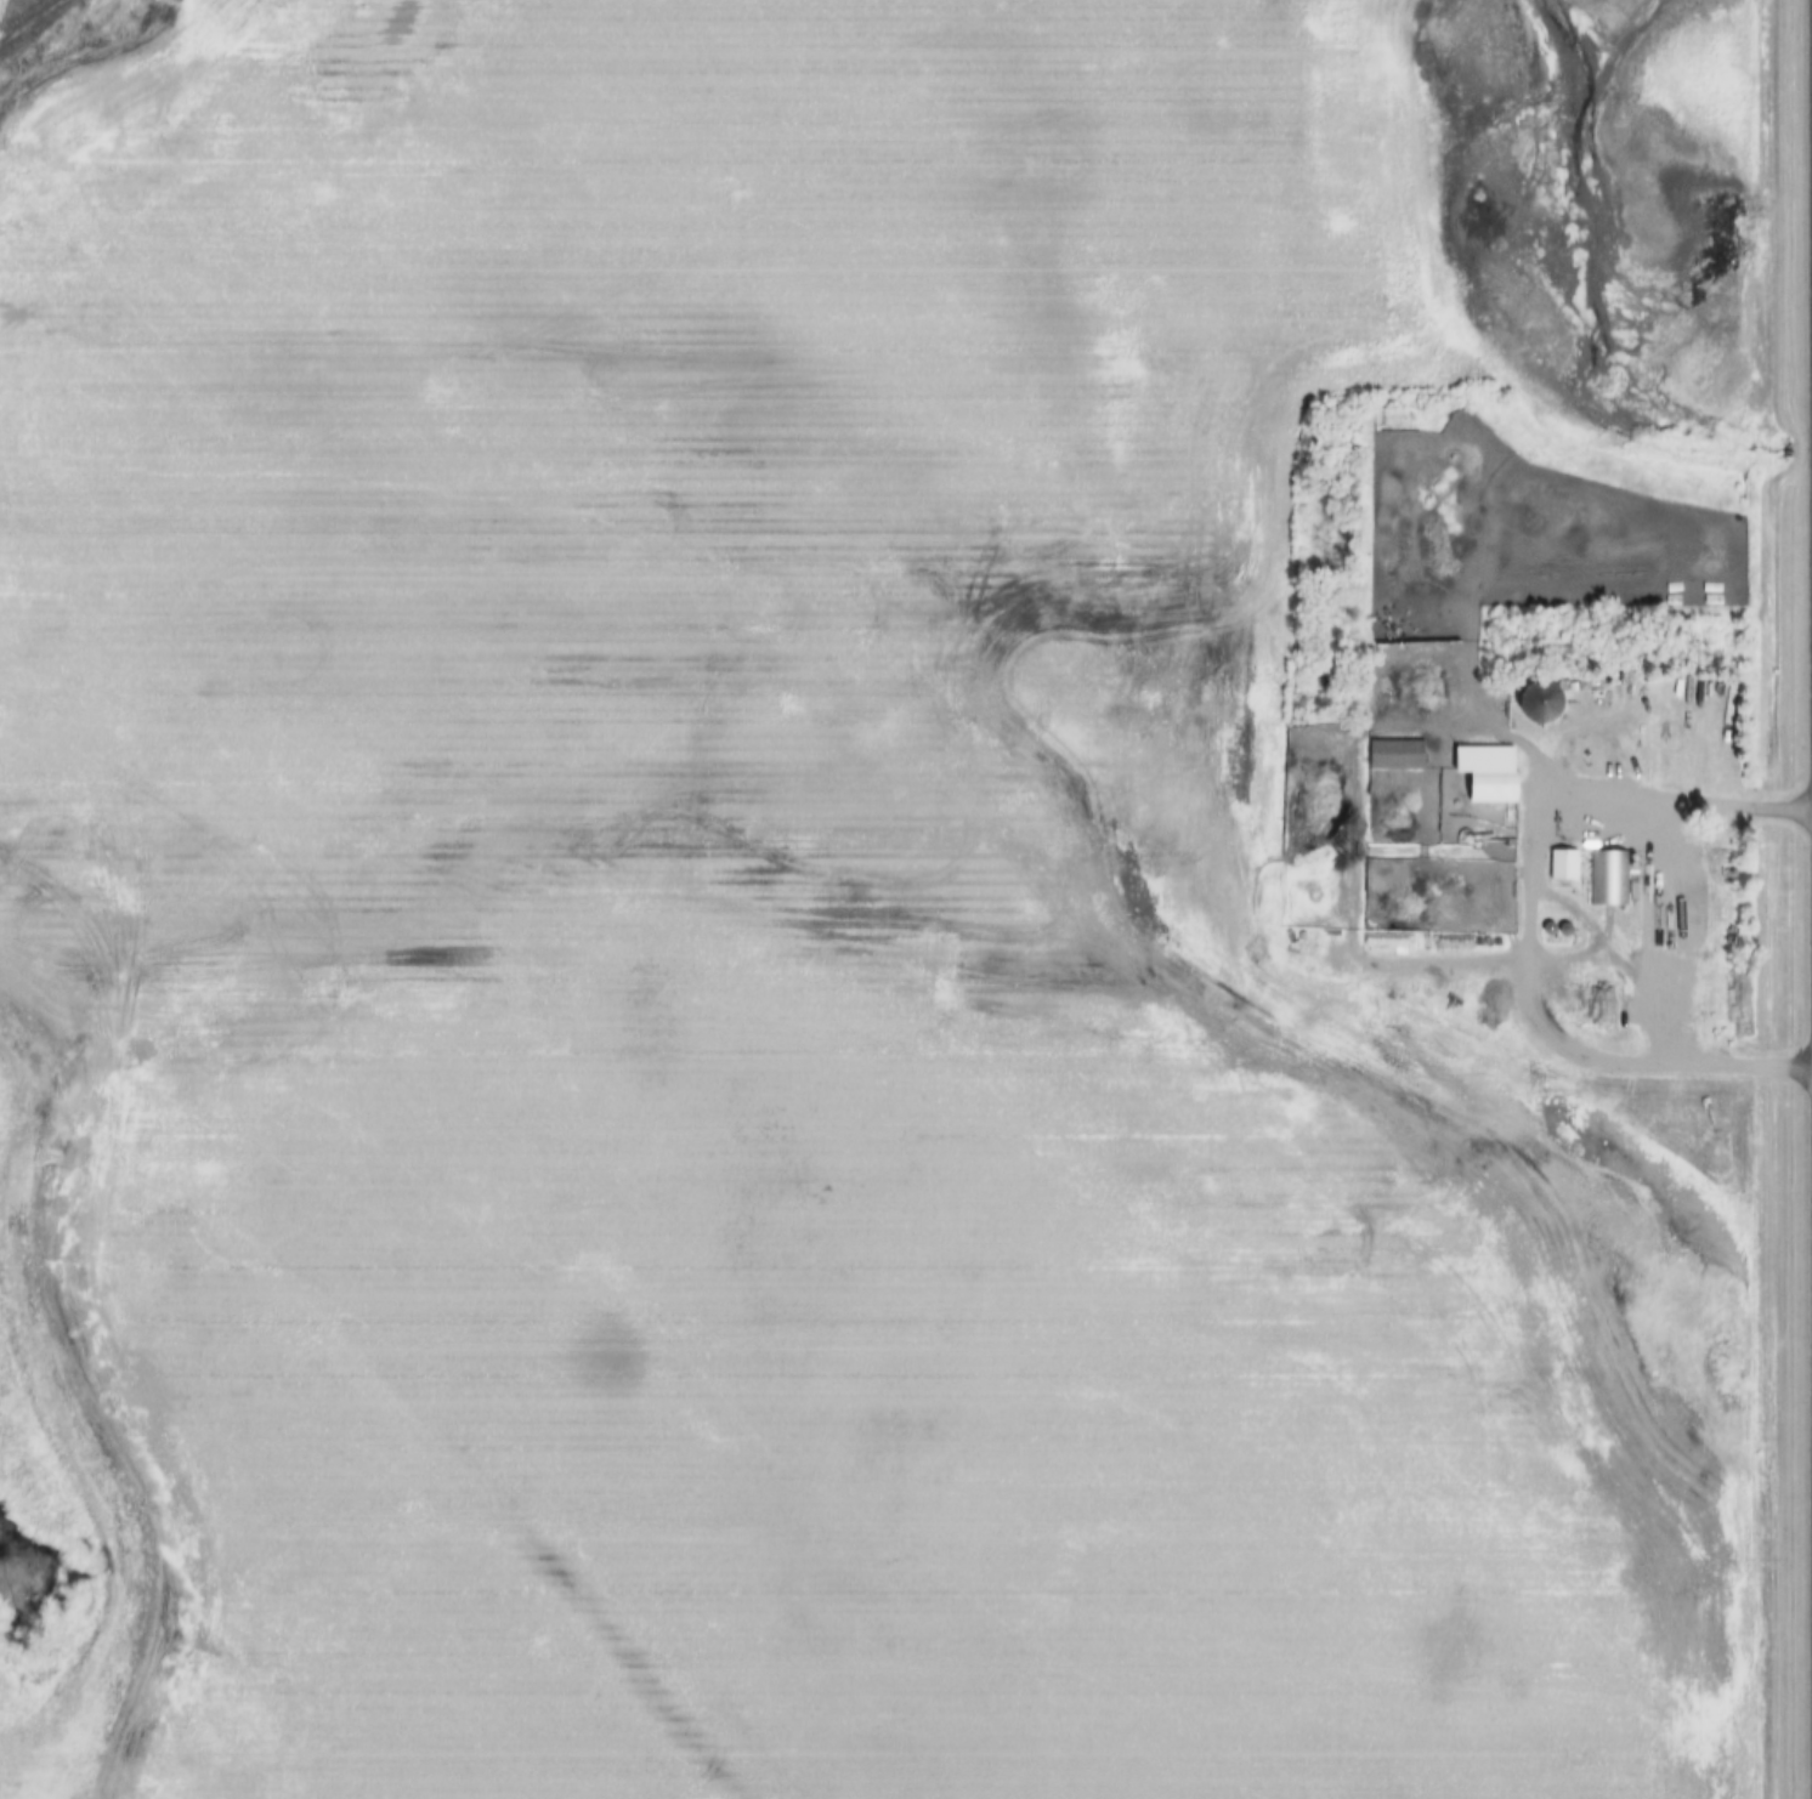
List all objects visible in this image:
building: (1551, 702)
building: (1400, 755)
building: (1506, 787)
building: (1569, 866)
building: (1612, 879)
road: (1551, 887)
road: (1545, 1040)

